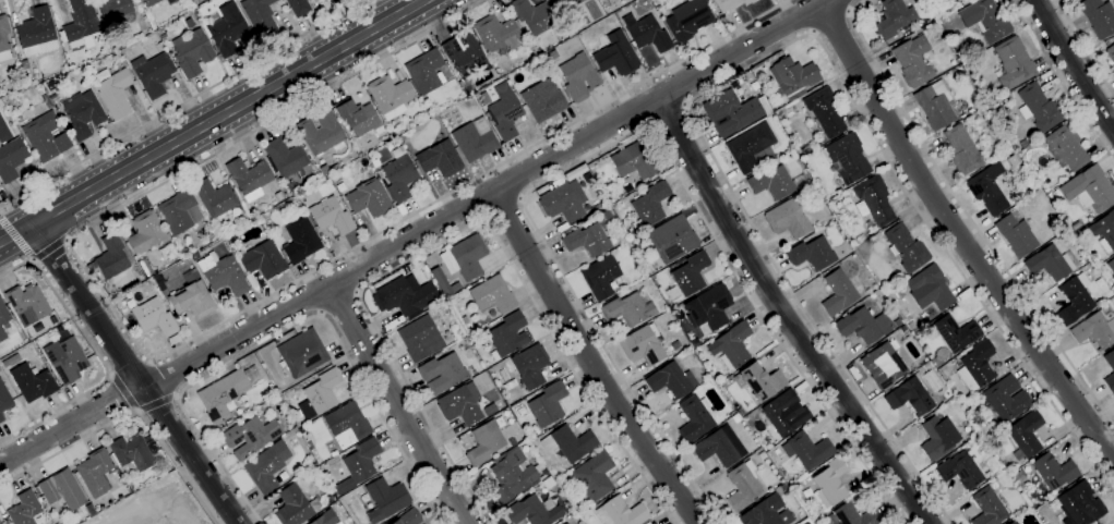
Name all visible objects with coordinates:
building: (950, 1)
building: (149, 2)
building: (730, 3)
building: (565, 4)
building: (298, 7)
building: (115, 12)
building: (534, 15)
building: (260, 16)
building: (893, 17)
building: (1098, 17)
building: (687, 20)
building: (985, 20)
building: (188, 23)
road: (832, 23)
building: (80, 25)
building: (934, 25)
building: (226, 29)
building: (646, 33)
building: (36, 35)
building: (496, 35)
building: (163, 37)
building: (3, 39)
building: (11, 41)
building: (524, 44)
building: (159, 46)
road: (1086, 47)
building: (192, 52)
building: (465, 52)
building: (170, 53)
road: (770, 53)
building: (615, 54)
building: (1111, 54)
building: (913, 61)
building: (1013, 63)
road: (1073, 64)
building: (424, 71)
building: (153, 74)
building: (792, 75)
building: (578, 77)
road: (1062, 82)
building: (50, 85)
building: (112, 92)
building: (795, 95)
building: (987, 95)
building: (390, 96)
building: (483, 98)
building: (542, 100)
road: (181, 102)
building: (979, 102)
building: (47, 103)
building: (934, 105)
building: (1038, 108)
building: (504, 111)
building: (982, 111)
building: (733, 112)
building: (824, 112)
building: (82, 113)
building: (358, 118)
road: (667, 118)
road: (212, 121)
building: (322, 133)
building: (45, 137)
road: (624, 138)
building: (474, 139)
building: (1035, 142)
building: (1022, 143)
building: (750, 146)
building: (1066, 146)
building: (804, 148)
building: (962, 150)
building: (11, 158)
building: (286, 158)
building: (848, 158)
building: (440, 159)
building: (634, 160)
building: (334, 168)
building: (323, 170)
building: (398, 175)
building: (249, 178)
building: (333, 178)
building: (771, 182)
building: (290, 186)
building: (987, 188)
building: (1089, 188)
building: (216, 198)
building: (369, 198)
building: (873, 200)
building: (563, 202)
building: (649, 205)
road: (503, 210)
building: (179, 212)
building: (328, 215)
building: (606, 215)
road: (969, 216)
building: (787, 219)
building: (1075, 226)
building: (272, 227)
road: (459, 230)
building: (1104, 231)
building: (145, 233)
road: (415, 234)
building: (1015, 234)
building: (208, 236)
road: (958, 237)
building: (672, 239)
road: (16, 240)
building: (586, 240)
building: (300, 241)
road: (50, 247)
building: (907, 248)
building: (812, 254)
building: (111, 256)
building: (193, 256)
building: (465, 257)
building: (261, 260)
building: (1051, 263)
building: (1111, 265)
building: (223, 273)
building: (690, 273)
building: (600, 277)
building: (455, 287)
building: (930, 288)
building: (838, 293)
building: (404, 295)
building: (492, 295)
building: (191, 296)
building: (1075, 298)
building: (27, 304)
road: (340, 304)
building: (628, 308)
building: (708, 308)
building: (3, 313)
road: (784, 315)
building: (154, 317)
building: (464, 320)
building: (493, 322)
building: (897, 322)
building: (864, 326)
building: (911, 326)
building: (902, 327)
building: (59, 328)
building: (484, 328)
building: (1097, 328)
road: (286, 330)
building: (954, 332)
building: (2, 333)
building: (43, 336)
building: (507, 336)
road: (197, 337)
building: (420, 339)
building: (643, 345)
building: (731, 345)
building: (302, 353)
road: (98, 355)
building: (65, 360)
road: (589, 361)
building: (1111, 364)
building: (883, 365)
building: (530, 366)
building: (977, 366)
building: (252, 368)
building: (442, 373)
road: (135, 375)
building: (670, 380)
building: (760, 381)
building: (33, 382)
road: (124, 391)
building: (320, 394)
building: (223, 395)
building: (910, 397)
building: (4, 399)
building: (1004, 399)
road: (157, 403)
road: (397, 404)
building: (460, 404)
building: (548, 404)
building: (522, 411)
building: (739, 412)
road: (130, 413)
building: (780, 414)
building: (1, 418)
building: (734, 418)
building: (694, 419)
building: (347, 425)
building: (1025, 435)
building: (250, 437)
building: (938, 437)
building: (484, 442)
building: (570, 442)
building: (719, 447)
building: (806, 450)
building: (130, 453)
building: (762, 455)
building: (358, 465)
building: (266, 466)
building: (959, 471)
building: (1054, 471)
building: (95, 472)
building: (511, 475)
building: (594, 475)
building: (1019, 475)
building: (829, 483)
building: (742, 485)
building: (782, 486)
building: (62, 489)
building: (385, 499)
building: (1080, 504)
building: (295, 505)
building: (987, 508)
building: (24, 509)
building: (89, 510)
building: (531, 512)
building: (622, 512)
building: (766, 512)
building: (853, 515)
building: (408, 517)
building: (326, 519)
building: (1013, 522)
road: (1111, 522)
building: (0, 523)
building: (563, 523)
building: (565, 523)
building: (647, 523)
building: (652, 523)
building: (885, 523)

